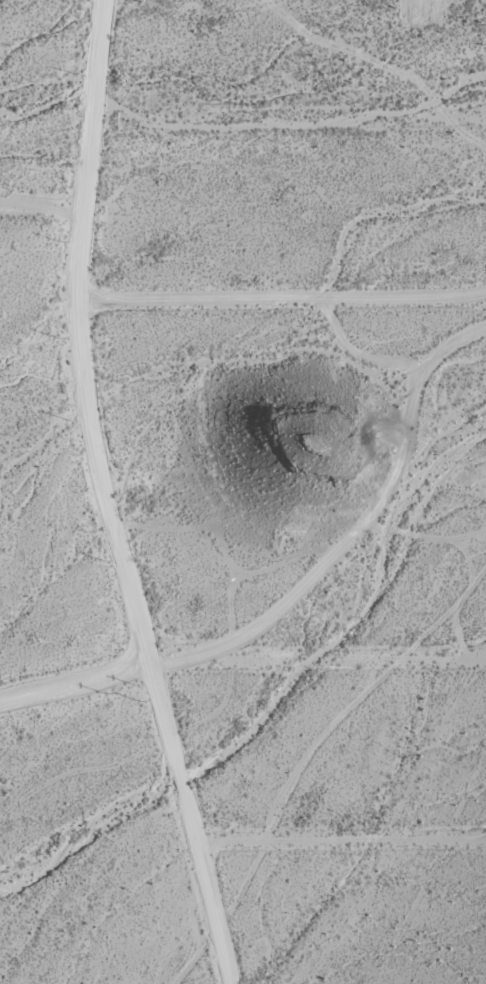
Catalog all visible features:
road: (257, 157)
road: (39, 204)
road: (282, 303)
road: (100, 497)
road: (304, 589)
road: (445, 776)
road: (184, 953)

